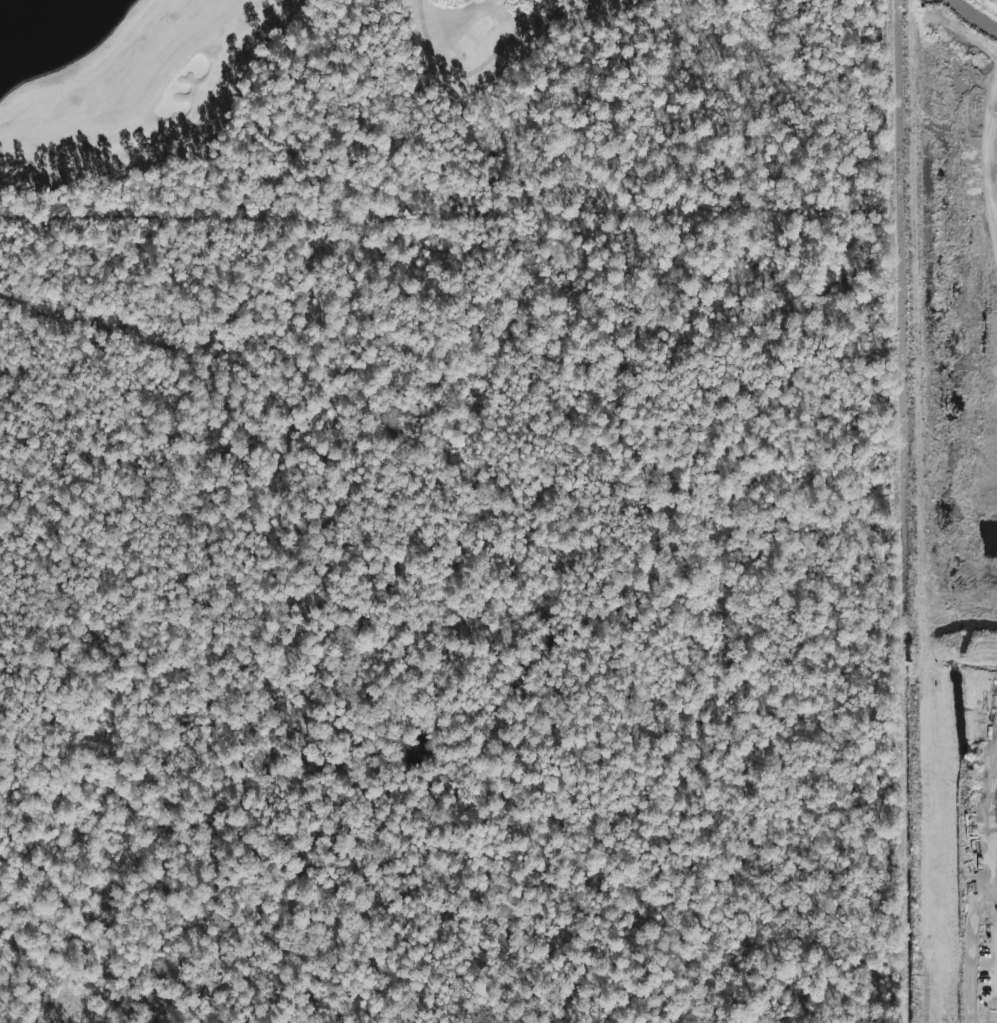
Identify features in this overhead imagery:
park: (255, 90)
park: (255, 90)

